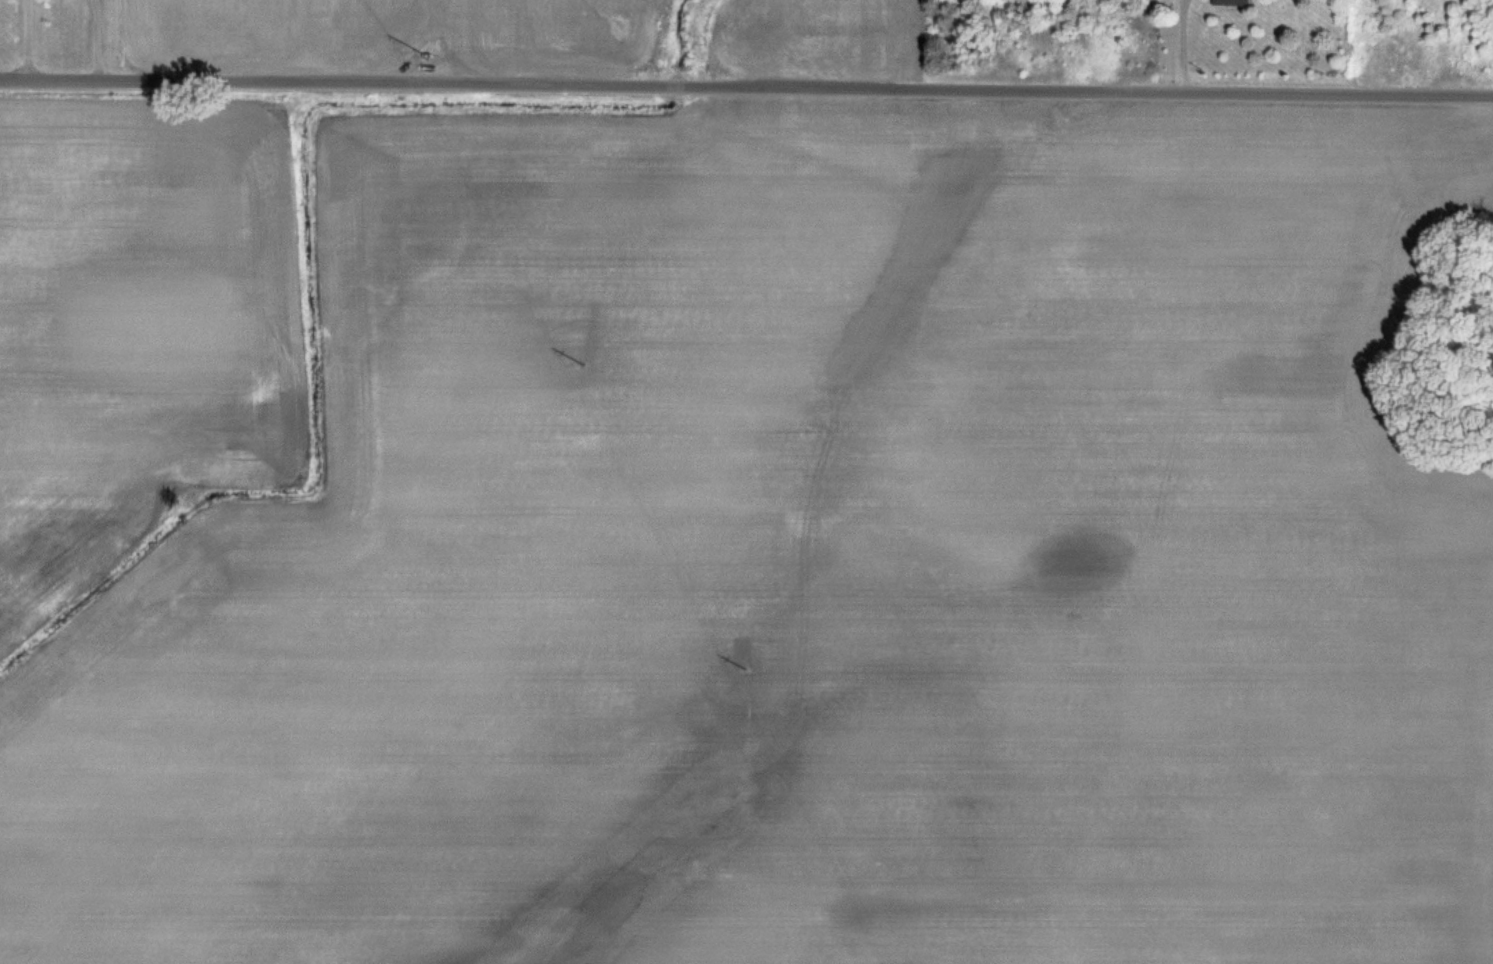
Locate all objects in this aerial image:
building: (1232, 2)
road: (13, 39)
road: (84, 39)
road: (1183, 46)
road: (746, 87)

